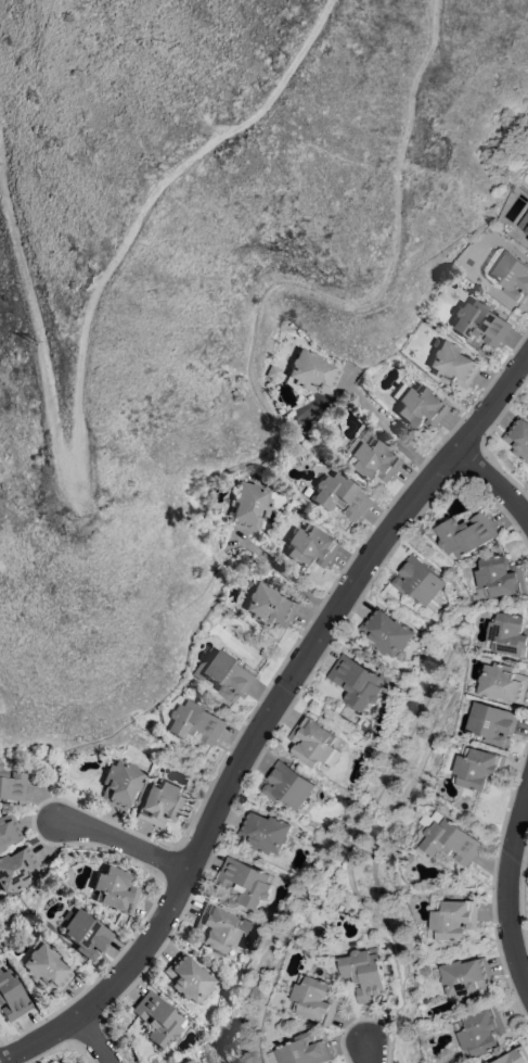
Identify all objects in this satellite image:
park: (18, 71)
building: (526, 229)
building: (527, 239)
building: (506, 274)
building: (479, 322)
building: (453, 365)
building: (313, 374)
building: (418, 406)
road: (391, 431)
building: (518, 436)
building: (374, 461)
road: (497, 480)
building: (342, 496)
building: (252, 507)
building: (465, 534)
building: (311, 547)
road: (286, 572)
building: (500, 577)
building: (416, 579)
building: (271, 606)
building: (386, 632)
building: (508, 634)
building: (224, 674)
building: (357, 680)
building: (502, 682)
road: (268, 719)
building: (191, 721)
building: (491, 722)
building: (312, 743)
building: (478, 768)
building: (121, 784)
building: (286, 785)
building: (12, 786)
building: (162, 805)
building: (8, 830)
building: (263, 832)
building: (447, 838)
road: (127, 843)
building: (0, 849)
building: (16, 870)
building: (244, 882)
building: (115, 890)
road: (510, 890)
building: (454, 919)
building: (219, 928)
building: (87, 935)
building: (46, 969)
building: (426, 971)
building: (364, 973)
building: (465, 976)
building: (189, 978)
building: (11, 997)
building: (314, 999)
building: (158, 1020)
building: (479, 1030)
road: (95, 1040)
building: (301, 1050)
road: (366, 1053)
building: (513, 1056)
building: (190, 1061)

